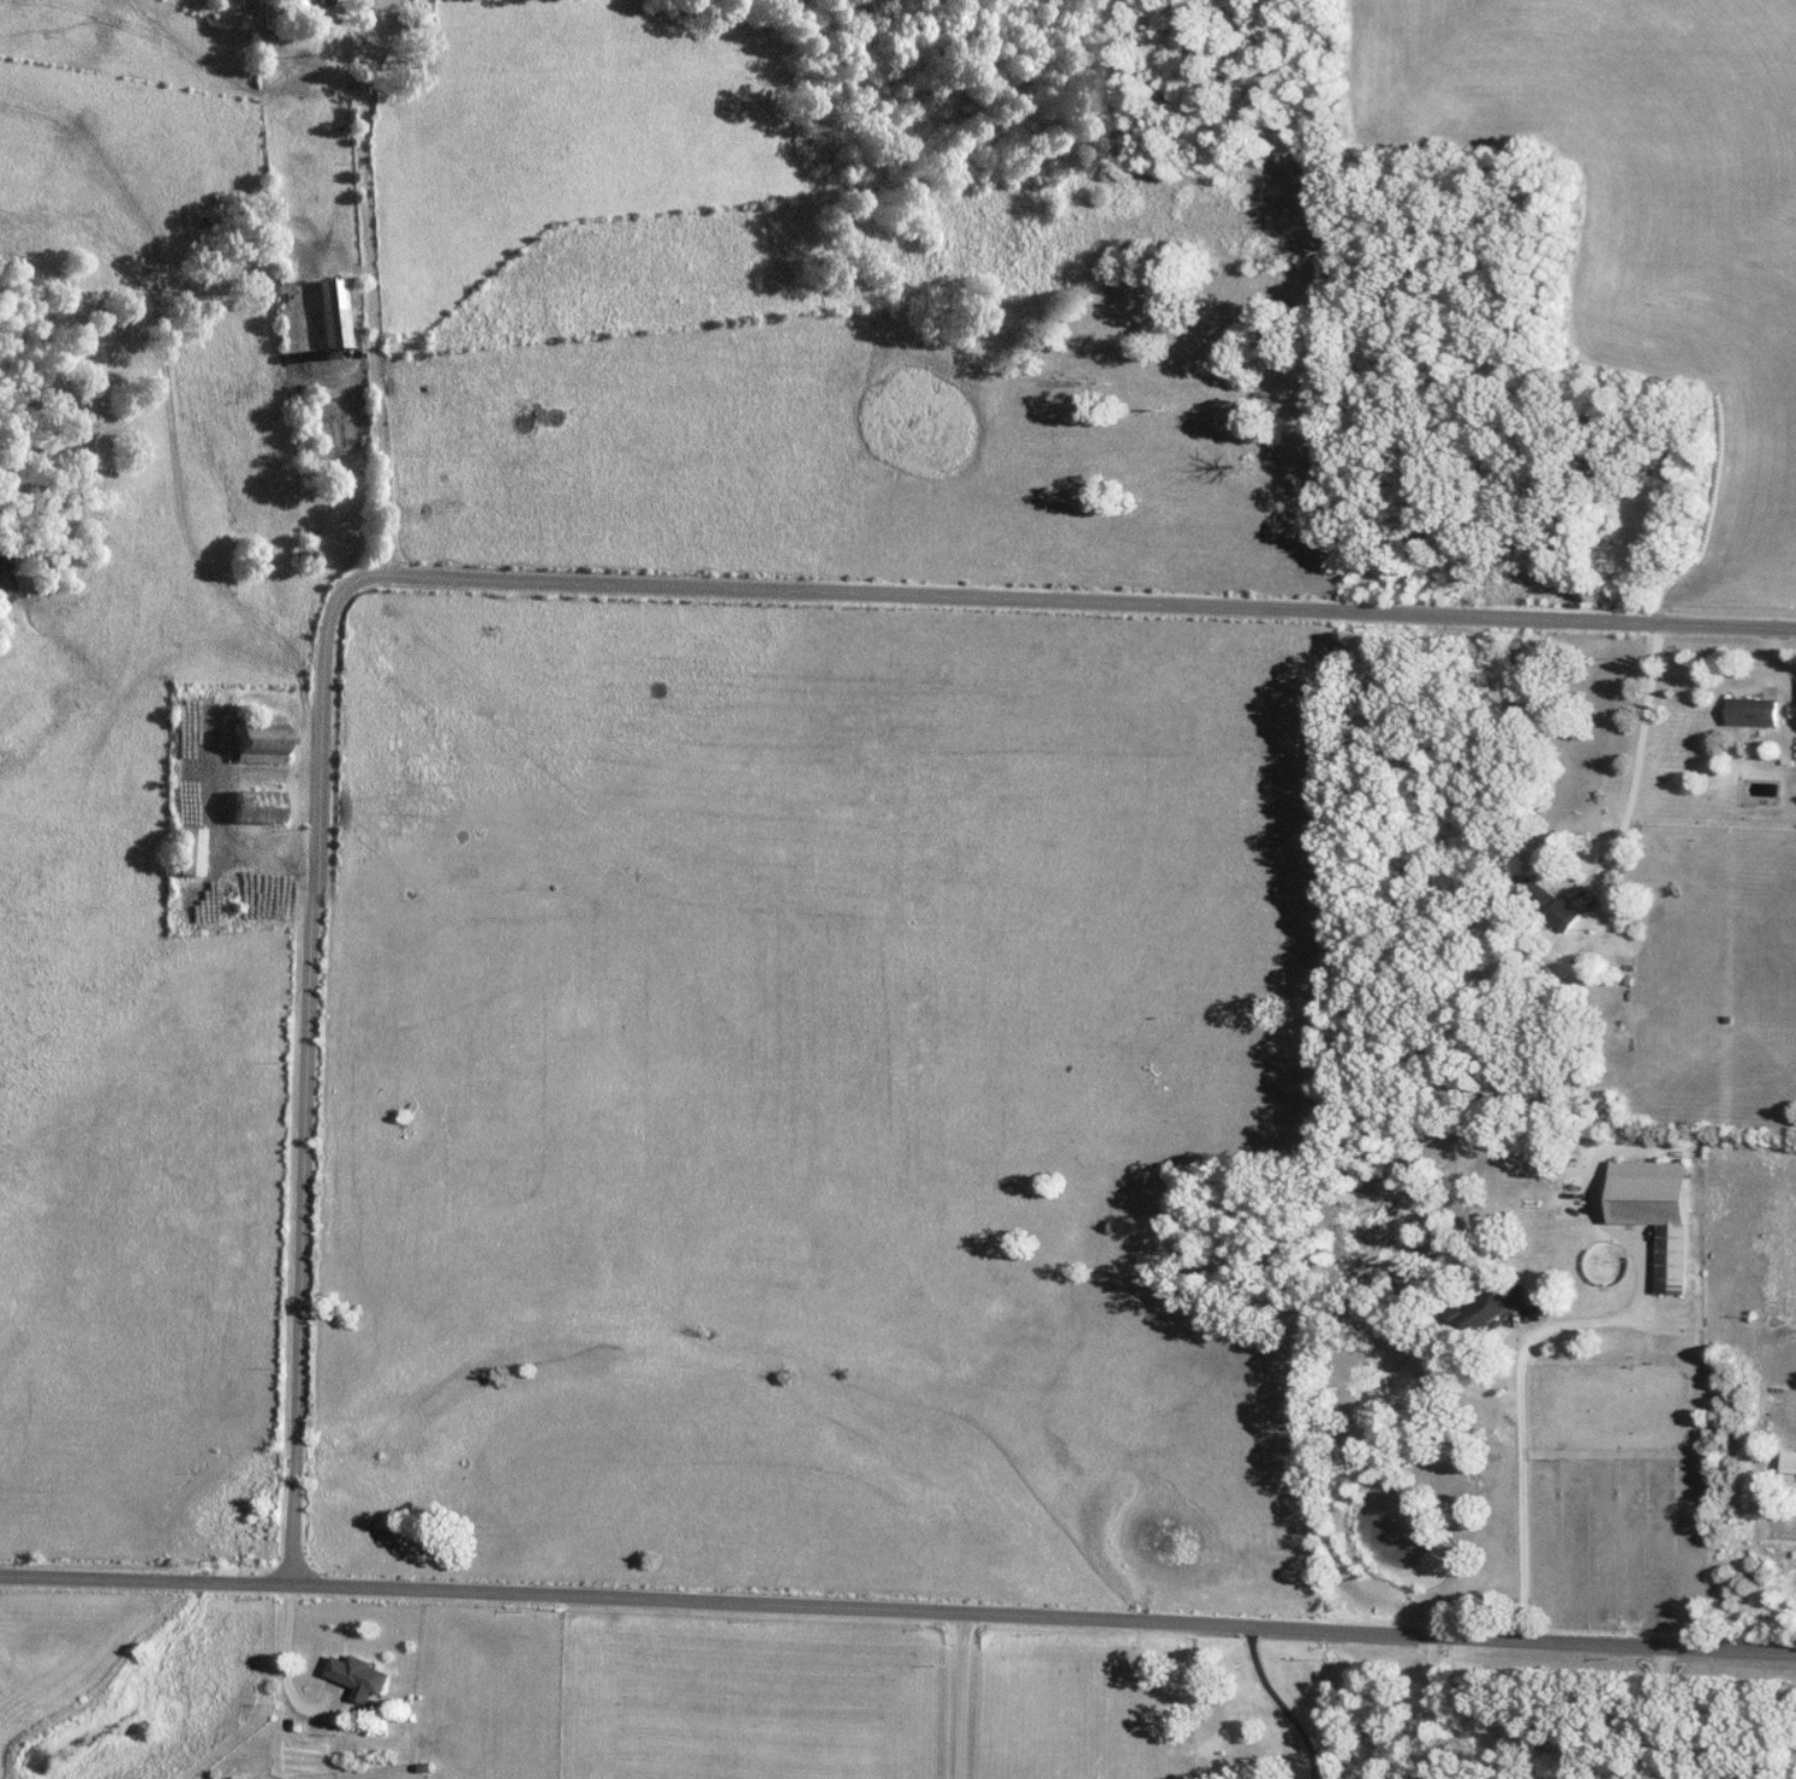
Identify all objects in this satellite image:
building: (317, 5)
building: (205, 216)
road: (405, 312)
building: (309, 315)
road: (1109, 602)
building: (1755, 711)
building: (258, 738)
road: (1637, 753)
building: (255, 805)
building: (186, 850)
building: (1547, 905)
road: (345, 1069)
building: (1575, 1202)
building: (1657, 1212)
building: (1524, 1295)
building: (1479, 1314)
road: (1518, 1404)
building: (1788, 1461)
road: (897, 1607)
building: (359, 1673)
road: (957, 1694)
road: (1278, 1701)
road: (1430, 1706)

